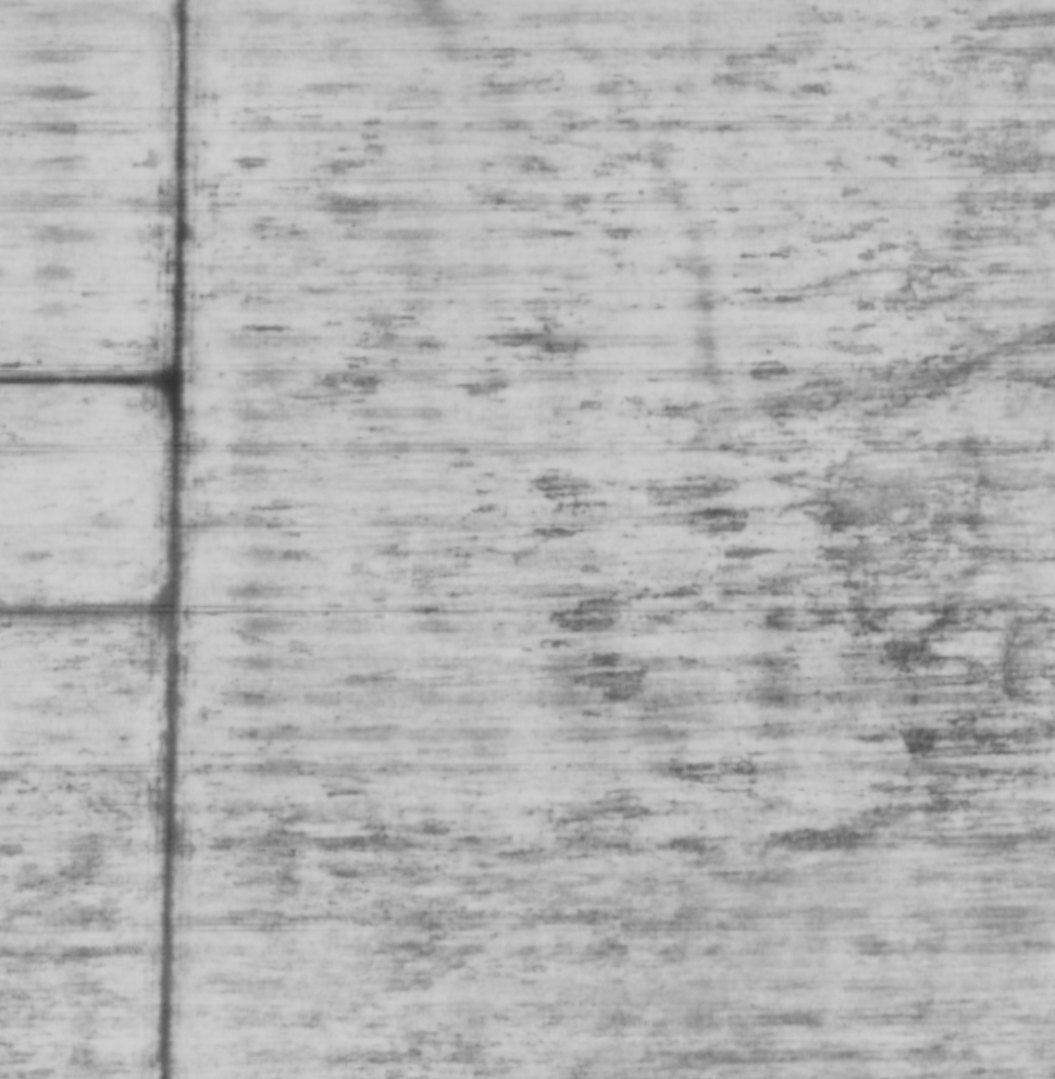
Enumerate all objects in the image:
crop: (527, 539)

